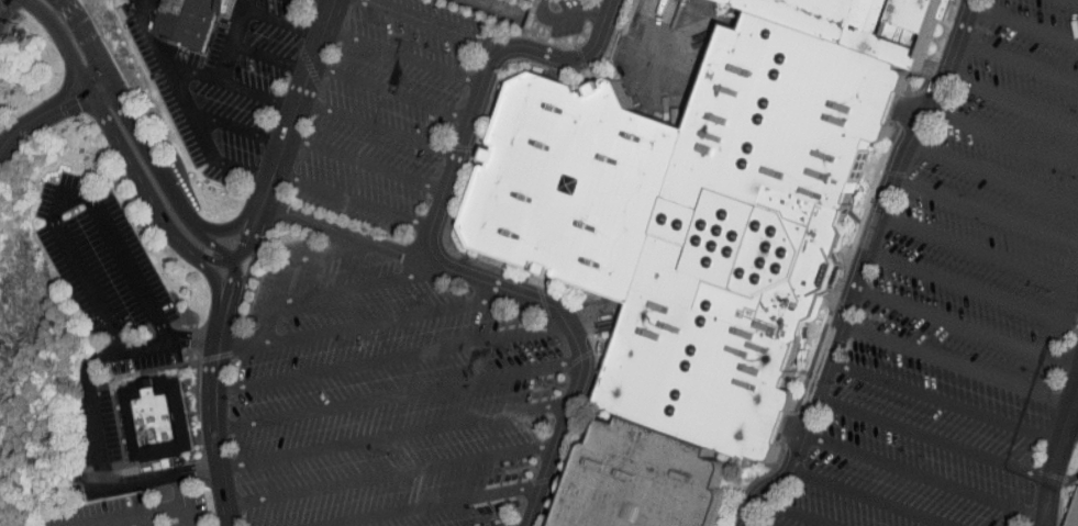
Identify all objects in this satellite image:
road: (1077, 0)
road: (326, 1)
railway: (3, 4)
road: (500, 9)
road: (567, 16)
building: (185, 21)
road: (282, 22)
road: (1024, 22)
road: (432, 25)
road: (88, 37)
road: (959, 37)
road: (233, 40)
road: (63, 41)
road: (403, 55)
road: (269, 58)
road: (1018, 61)
road: (658, 65)
road: (168, 79)
road: (227, 82)
road: (301, 89)
road: (389, 92)
road: (1012, 98)
road: (49, 107)
road: (910, 111)
road: (233, 125)
road: (377, 126)
road: (1004, 135)
road: (462, 137)
road: (364, 163)
road: (240, 168)
road: (992, 170)
road: (66, 191)
road: (174, 194)
road: (351, 199)
road: (985, 210)
road: (159, 215)
road: (251, 220)
road: (258, 224)
road: (875, 232)
road: (354, 235)
building: (697, 235)
road: (210, 243)
road: (974, 248)
road: (330, 251)
road: (431, 254)
road: (214, 260)
road: (248, 276)
road: (358, 284)
road: (960, 284)
road: (224, 300)
road: (232, 301)
road: (1058, 301)
road: (273, 302)
parking lot: (389, 302)
parking lot: (963, 302)
road: (593, 317)
road: (367, 322)
road: (967, 327)
power tower: (8, 351)
road: (387, 357)
road: (957, 365)
road: (396, 395)
road: (945, 403)
road: (89, 410)
building: (154, 415)
road: (1073, 422)
road: (793, 430)
road: (1063, 432)
road: (210, 433)
road: (390, 435)
road: (933, 438)
road: (791, 468)
road: (387, 477)
road: (925, 477)
road: (869, 499)
road: (181, 500)
road: (1046, 502)
road: (430, 505)
parking lot: (133, 508)
building: (1073, 512)
road: (794, 513)
road: (127, 515)
road: (142, 519)

